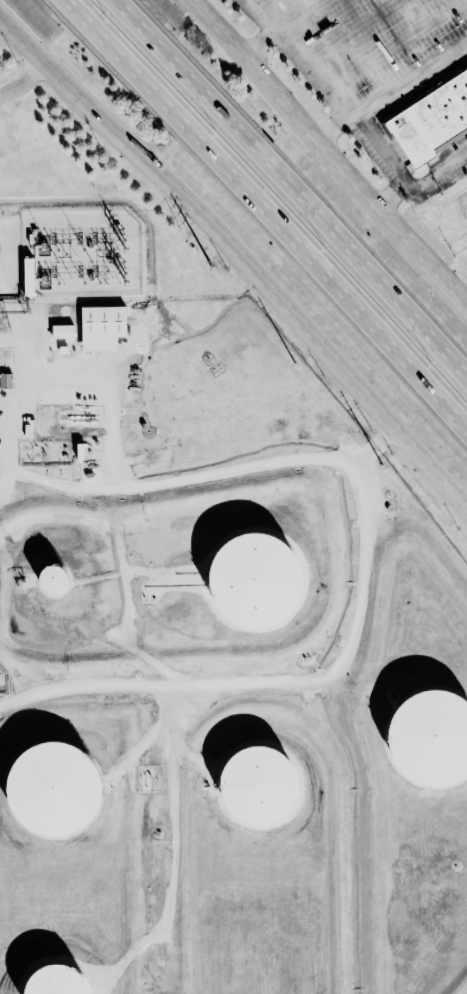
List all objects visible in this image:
road: (466, 0)
road: (259, 1)
road: (460, 1)
parking lot: (251, 12)
road: (305, 13)
road: (355, 29)
parking lot: (370, 36)
road: (265, 39)
road: (396, 42)
road: (310, 59)
parking lot: (306, 74)
road: (24, 79)
parking lot: (427, 83)
road: (332, 84)
road: (393, 88)
road: (333, 90)
building: (430, 120)
parking lot: (455, 147)
road: (334, 151)
parking lot: (374, 153)
road: (422, 187)
road: (289, 189)
road: (266, 215)
road: (245, 248)
power substation: (80, 253)
building: (28, 277)
building: (102, 327)
building: (62, 331)
road: (12, 341)
building: (63, 350)
road: (66, 377)
building: (5, 381)
road: (11, 420)
building: (80, 452)
road: (235, 469)
road: (52, 483)
road: (161, 574)
building: (53, 579)
storage tank: (53, 579)
building: (254, 579)
storage tank: (254, 579)
road: (302, 680)
road: (353, 688)
road: (172, 732)
building: (430, 737)
storage tank: (430, 737)
road: (141, 745)
road: (193, 757)
road: (132, 770)
building: (258, 785)
storage tank: (258, 785)
building: (53, 788)
storage tank: (53, 788)
building: (57, 981)
storage tank: (57, 981)

